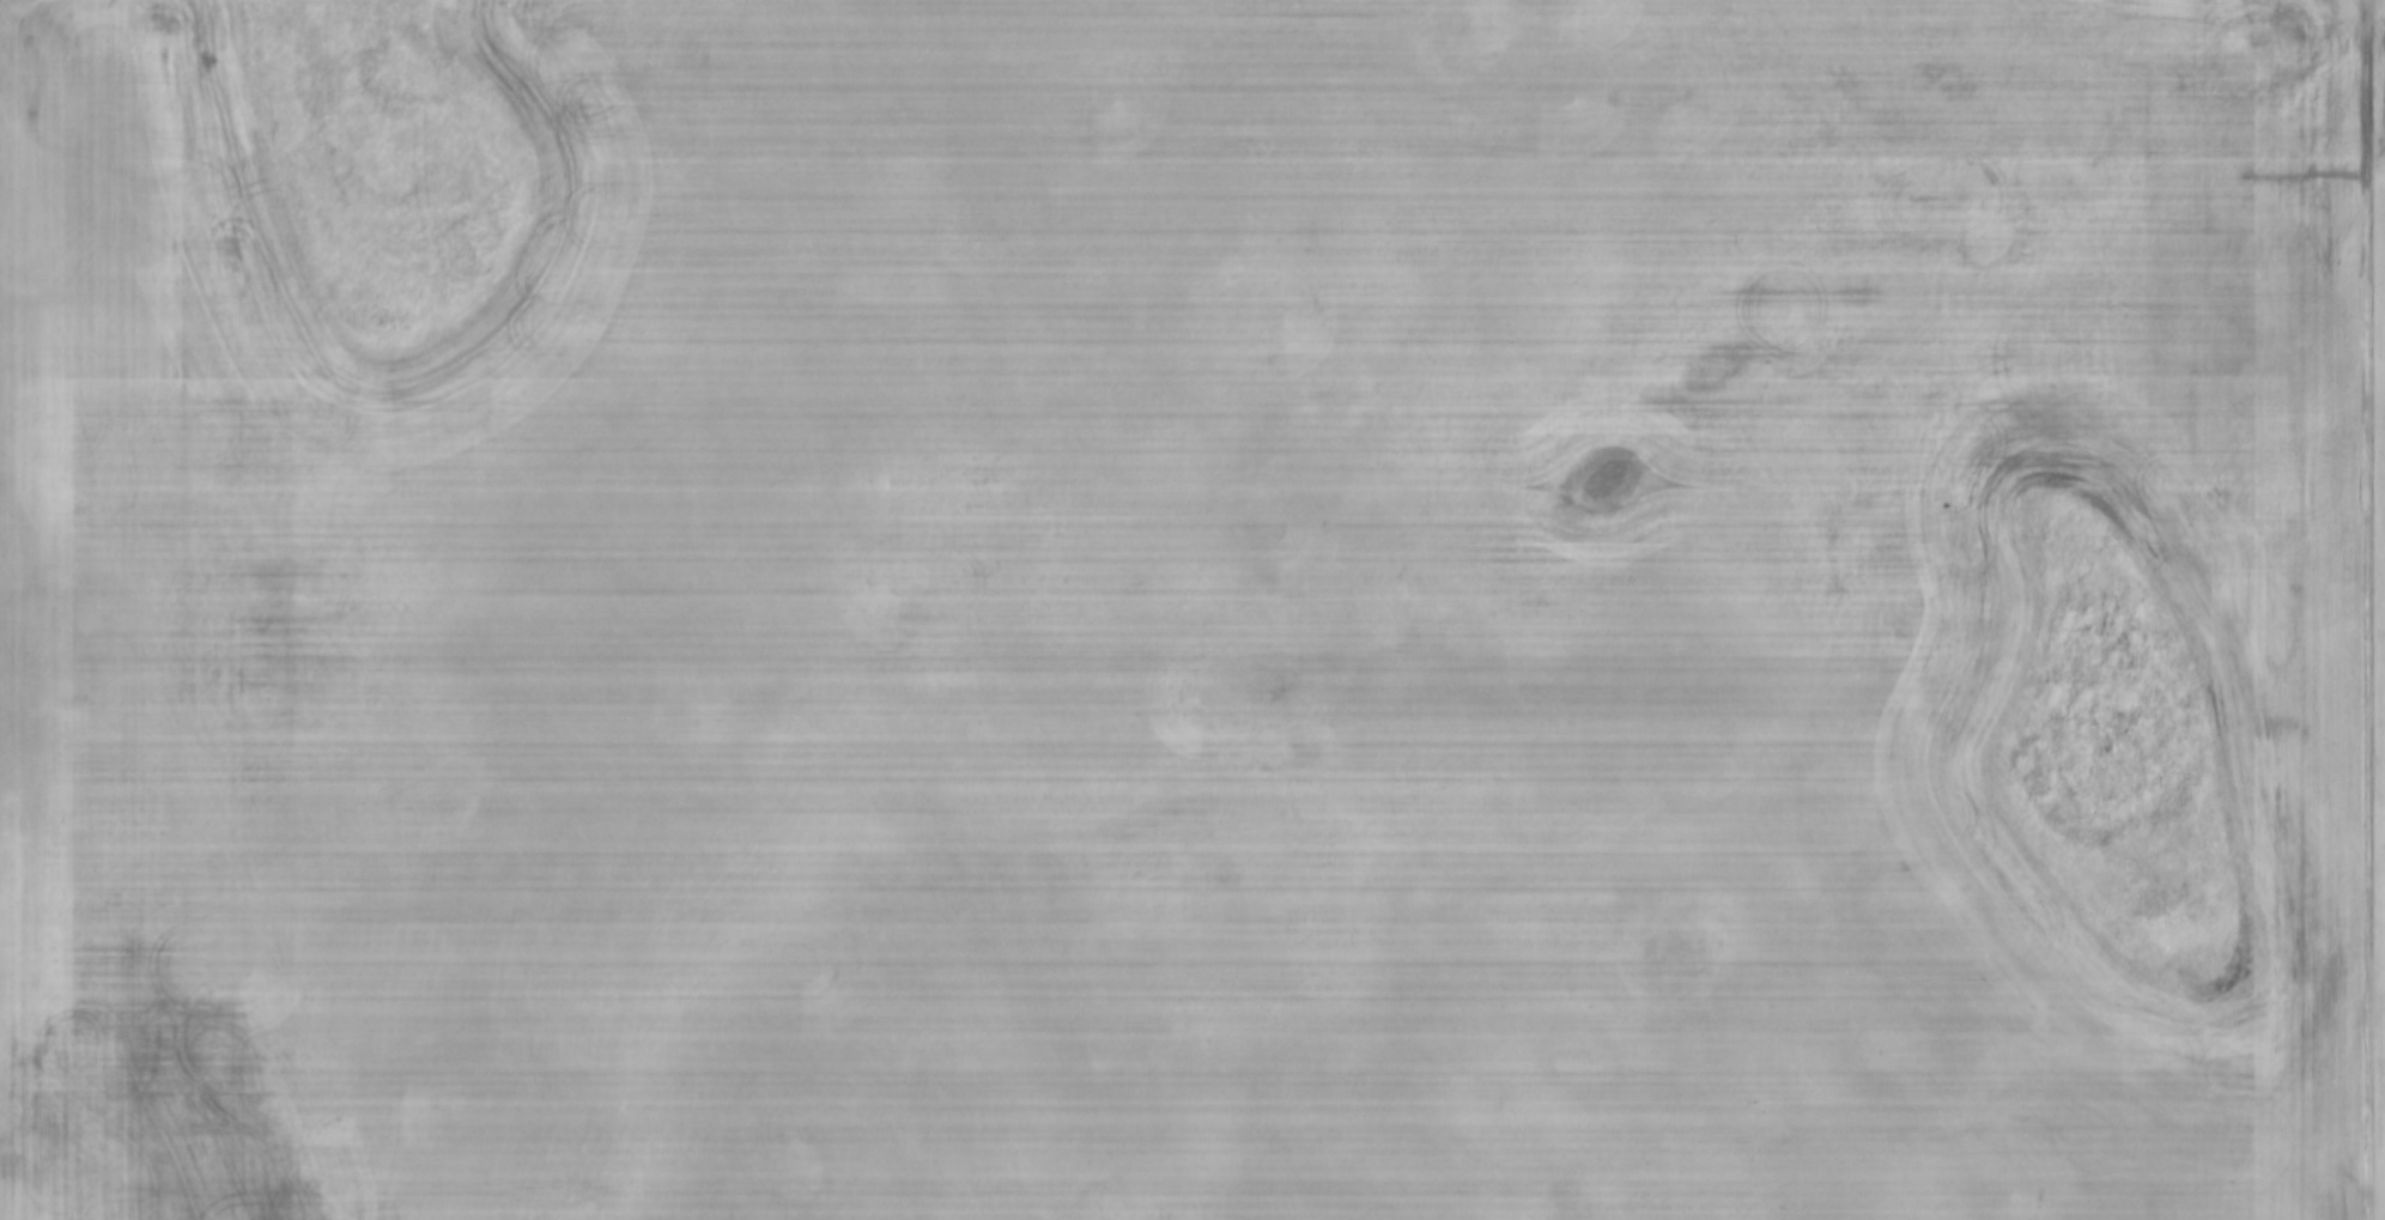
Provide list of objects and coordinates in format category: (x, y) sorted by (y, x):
road: (2367, 609)

